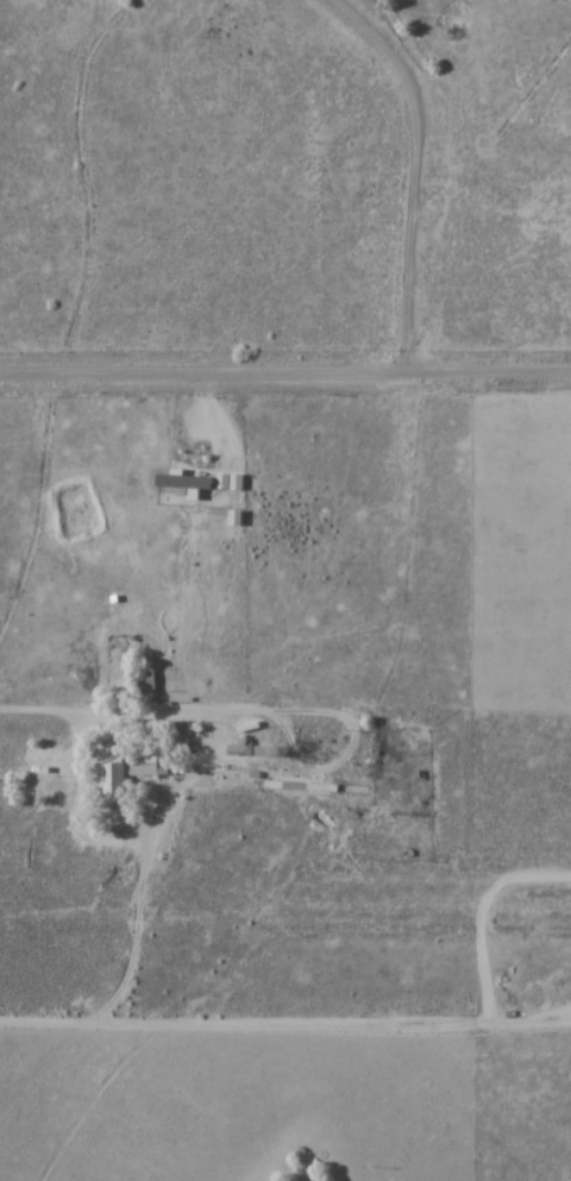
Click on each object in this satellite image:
road: (285, 378)
building: (148, 681)
building: (149, 765)
building: (114, 778)

